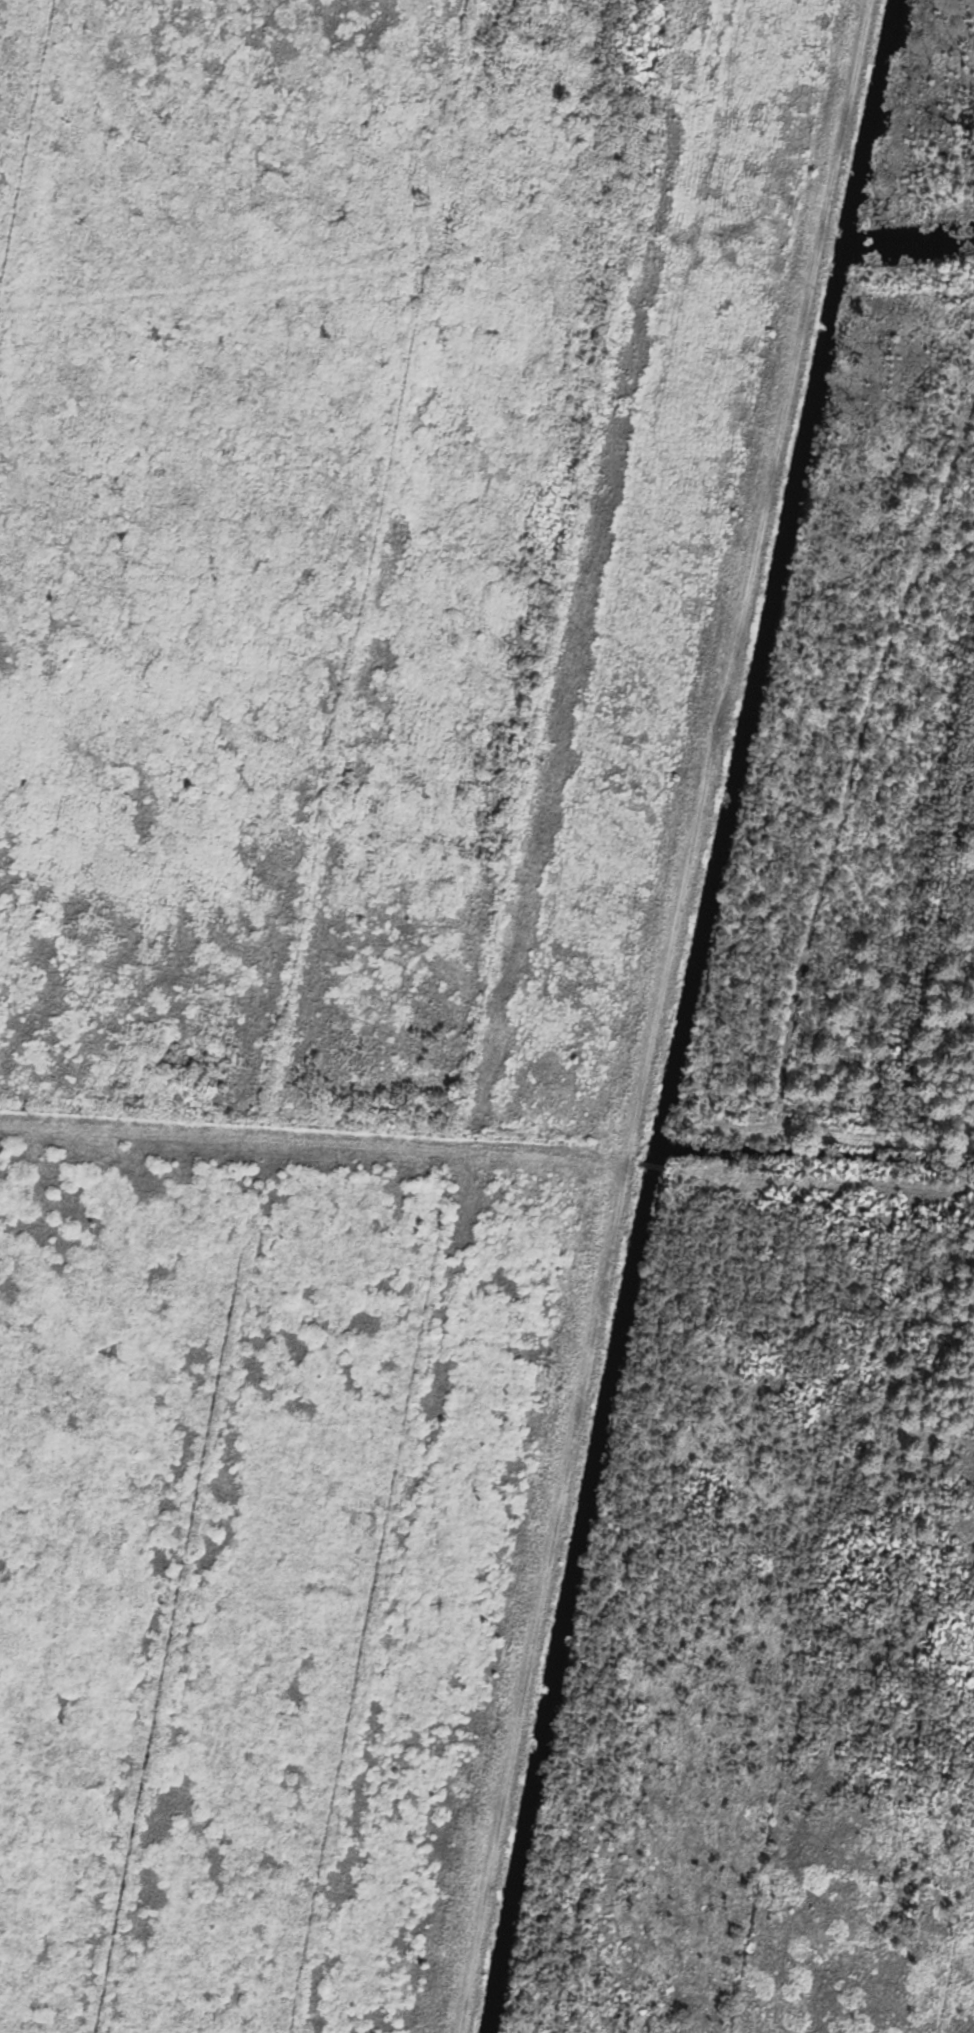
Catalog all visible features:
road: (660, 1014)
road: (835, 1132)
road: (315, 1140)
road: (635, 1161)
road: (656, 1166)
road: (823, 1178)

